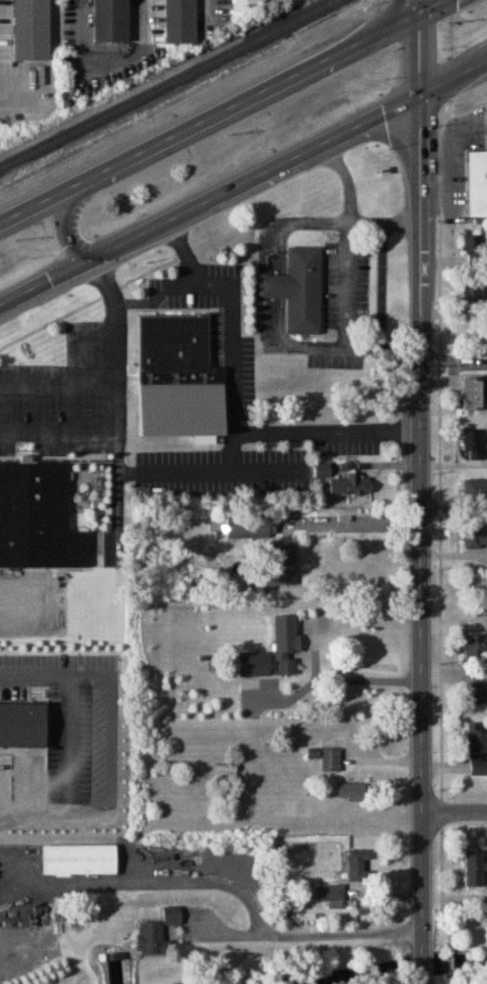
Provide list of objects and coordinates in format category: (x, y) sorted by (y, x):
road: (215, 2)
building: (236, 2)
road: (418, 6)
road: (430, 6)
parking lot: (220, 8)
traffic signals: (418, 12)
building: (178, 14)
road: (86, 16)
building: (111, 16)
road: (145, 16)
building: (32, 26)
road: (417, 52)
parking lot: (23, 68)
road: (452, 75)
road: (20, 78)
railway: (167, 83)
traffic signals: (417, 93)
road: (209, 116)
road: (347, 177)
building: (477, 185)
road: (208, 197)
road: (73, 204)
road: (403, 211)
road: (305, 217)
road: (183, 248)
building: (472, 249)
parking lot: (199, 282)
building: (294, 283)
parking lot: (348, 283)
road: (112, 290)
building: (473, 294)
road: (348, 345)
parking lot: (335, 356)
parking lot: (247, 359)
building: (177, 369)
road: (85, 385)
parking lot: (69, 392)
building: (475, 394)
road: (234, 416)
road: (408, 424)
road: (79, 428)
parking lot: (347, 442)
building: (475, 446)
road: (249, 463)
road: (191, 465)
parking lot: (221, 466)
building: (352, 485)
building: (475, 490)
building: (39, 511)
road: (356, 523)
road: (419, 523)
building: (251, 528)
building: (475, 539)
building: (281, 568)
building: (9, 605)
building: (285, 645)
building: (475, 647)
road: (61, 662)
building: (254, 665)
road: (345, 679)
building: (475, 695)
building: (25, 718)
road: (74, 727)
parking lot: (74, 733)
building: (477, 750)
building: (330, 760)
building: (352, 793)
road: (454, 813)
building: (79, 860)
building: (358, 862)
building: (475, 868)
building: (331, 893)
road: (450, 899)
building: (157, 931)
road: (303, 932)
road: (423, 965)
road: (423, 980)

